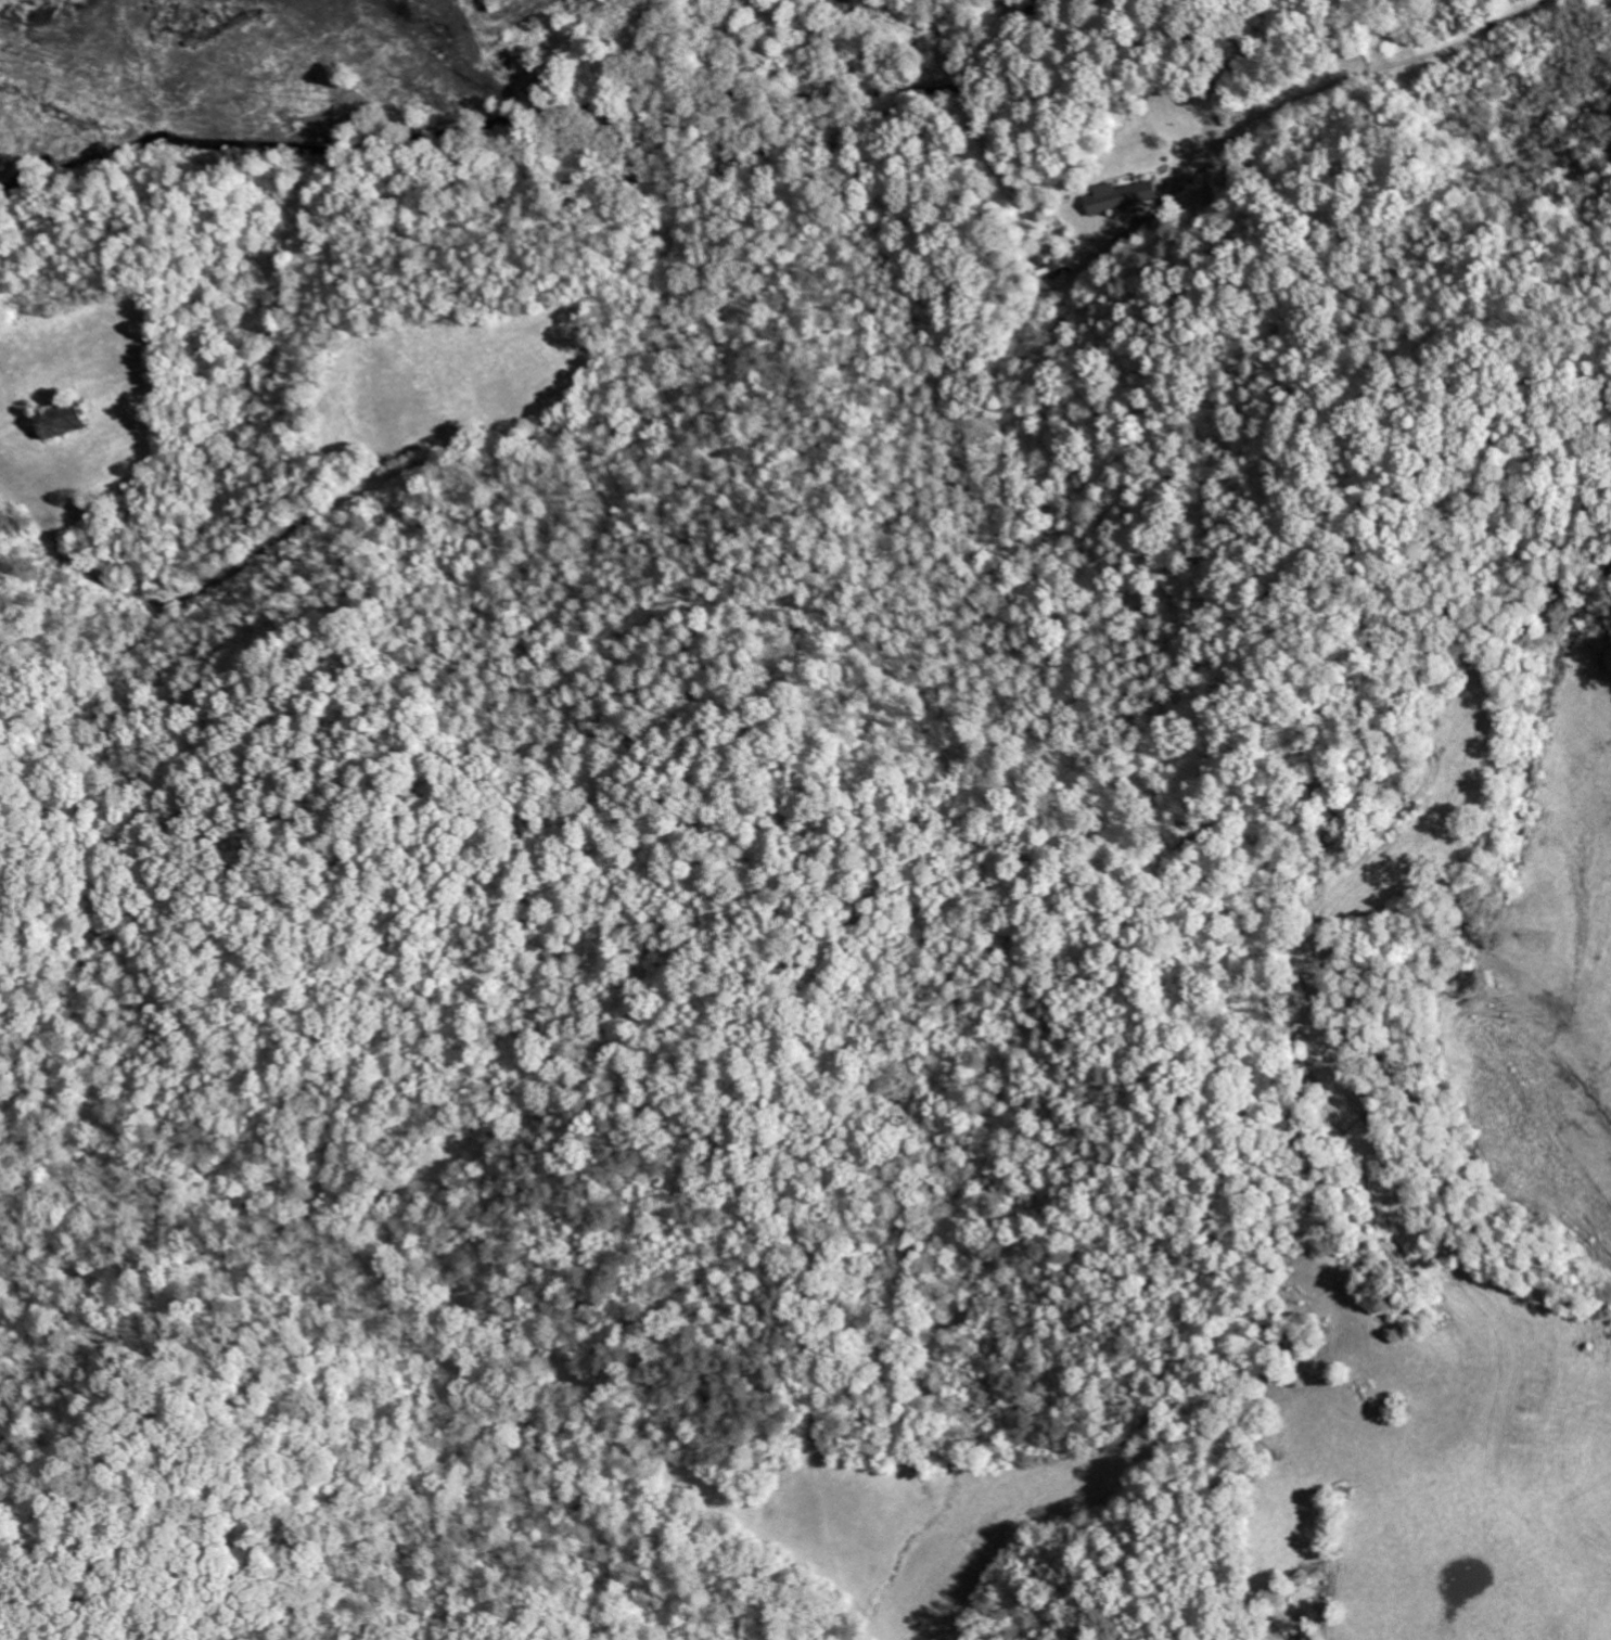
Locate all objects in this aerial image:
building: (1125, 195)
building: (69, 419)

